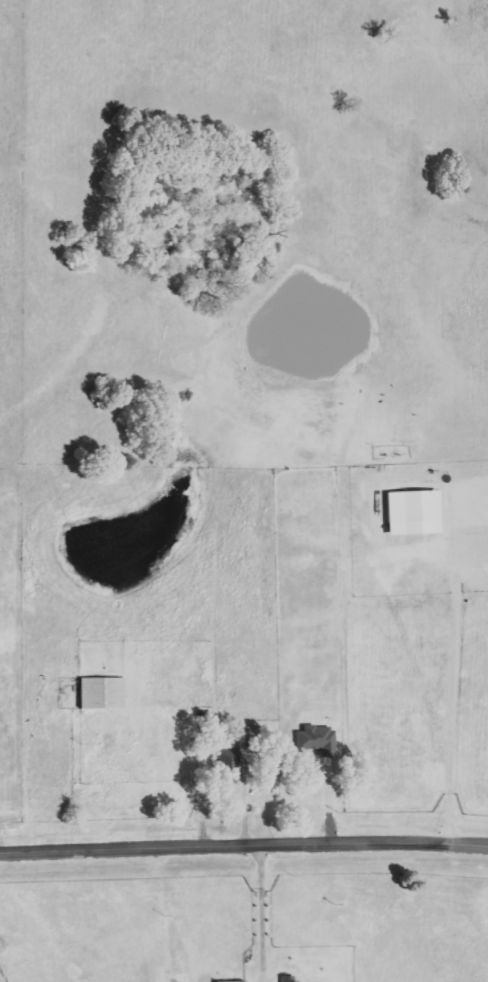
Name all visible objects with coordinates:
building: (414, 513)
road: (452, 682)
building: (102, 694)
building: (317, 741)
building: (239, 752)
road: (243, 841)
road: (260, 911)
building: (287, 979)
building: (234, 981)

